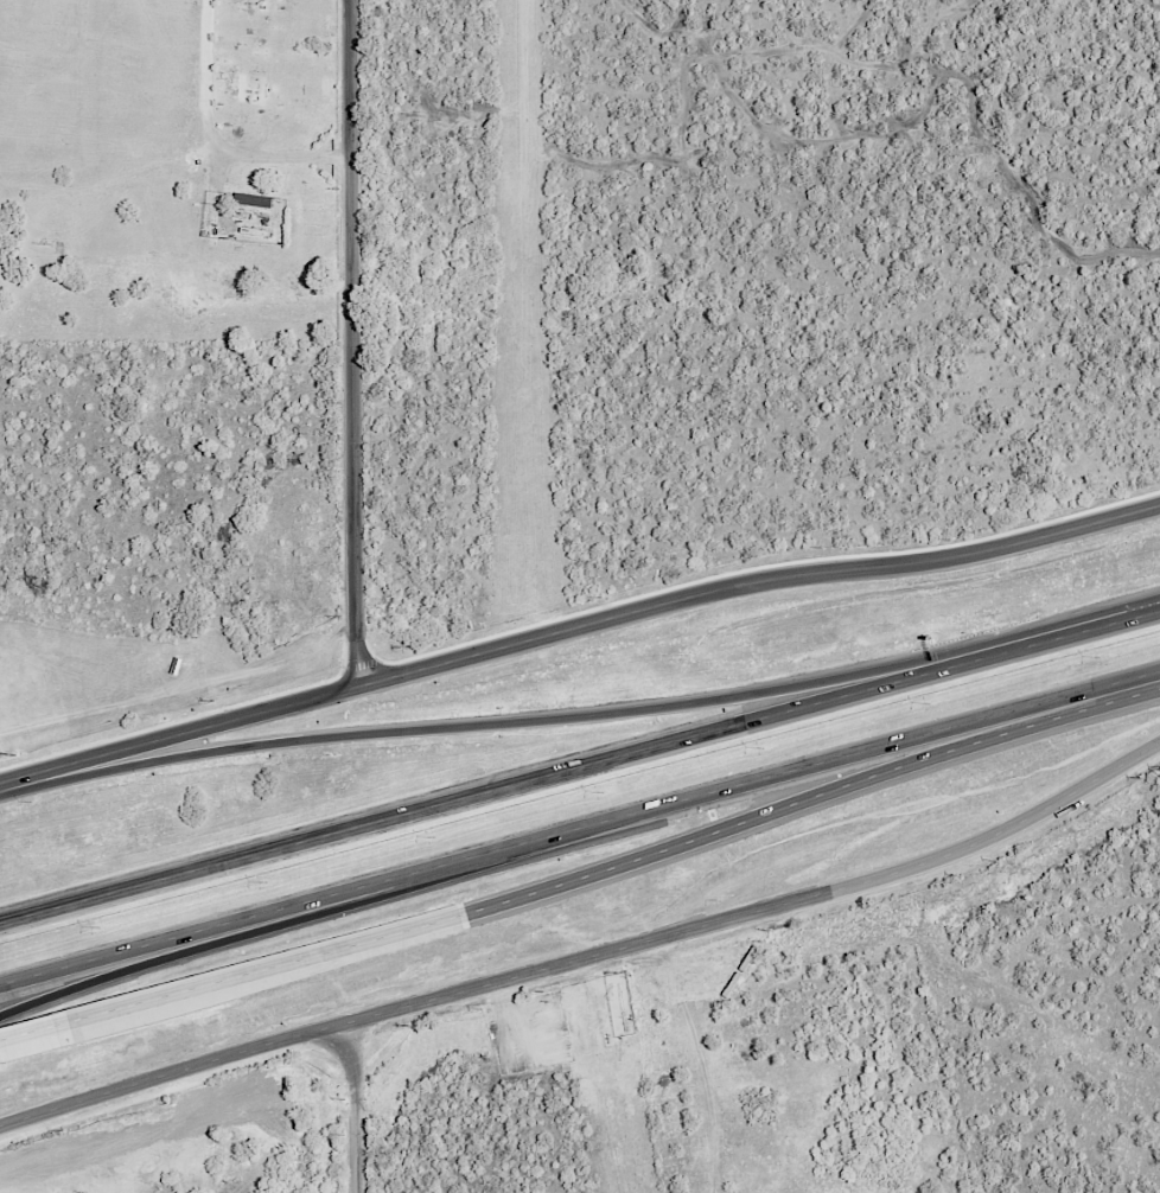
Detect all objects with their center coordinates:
road: (216, 141)
park: (168, 171)
building: (251, 199)
road: (352, 344)
road: (754, 582)
road: (1063, 638)
building: (176, 665)
road: (1103, 687)
road: (498, 714)
road: (178, 736)
road: (482, 793)
road: (522, 842)
road: (559, 887)
building: (746, 957)
road: (589, 959)
road: (97, 974)
building: (729, 982)
road: (30, 1038)
road: (368, 1104)

